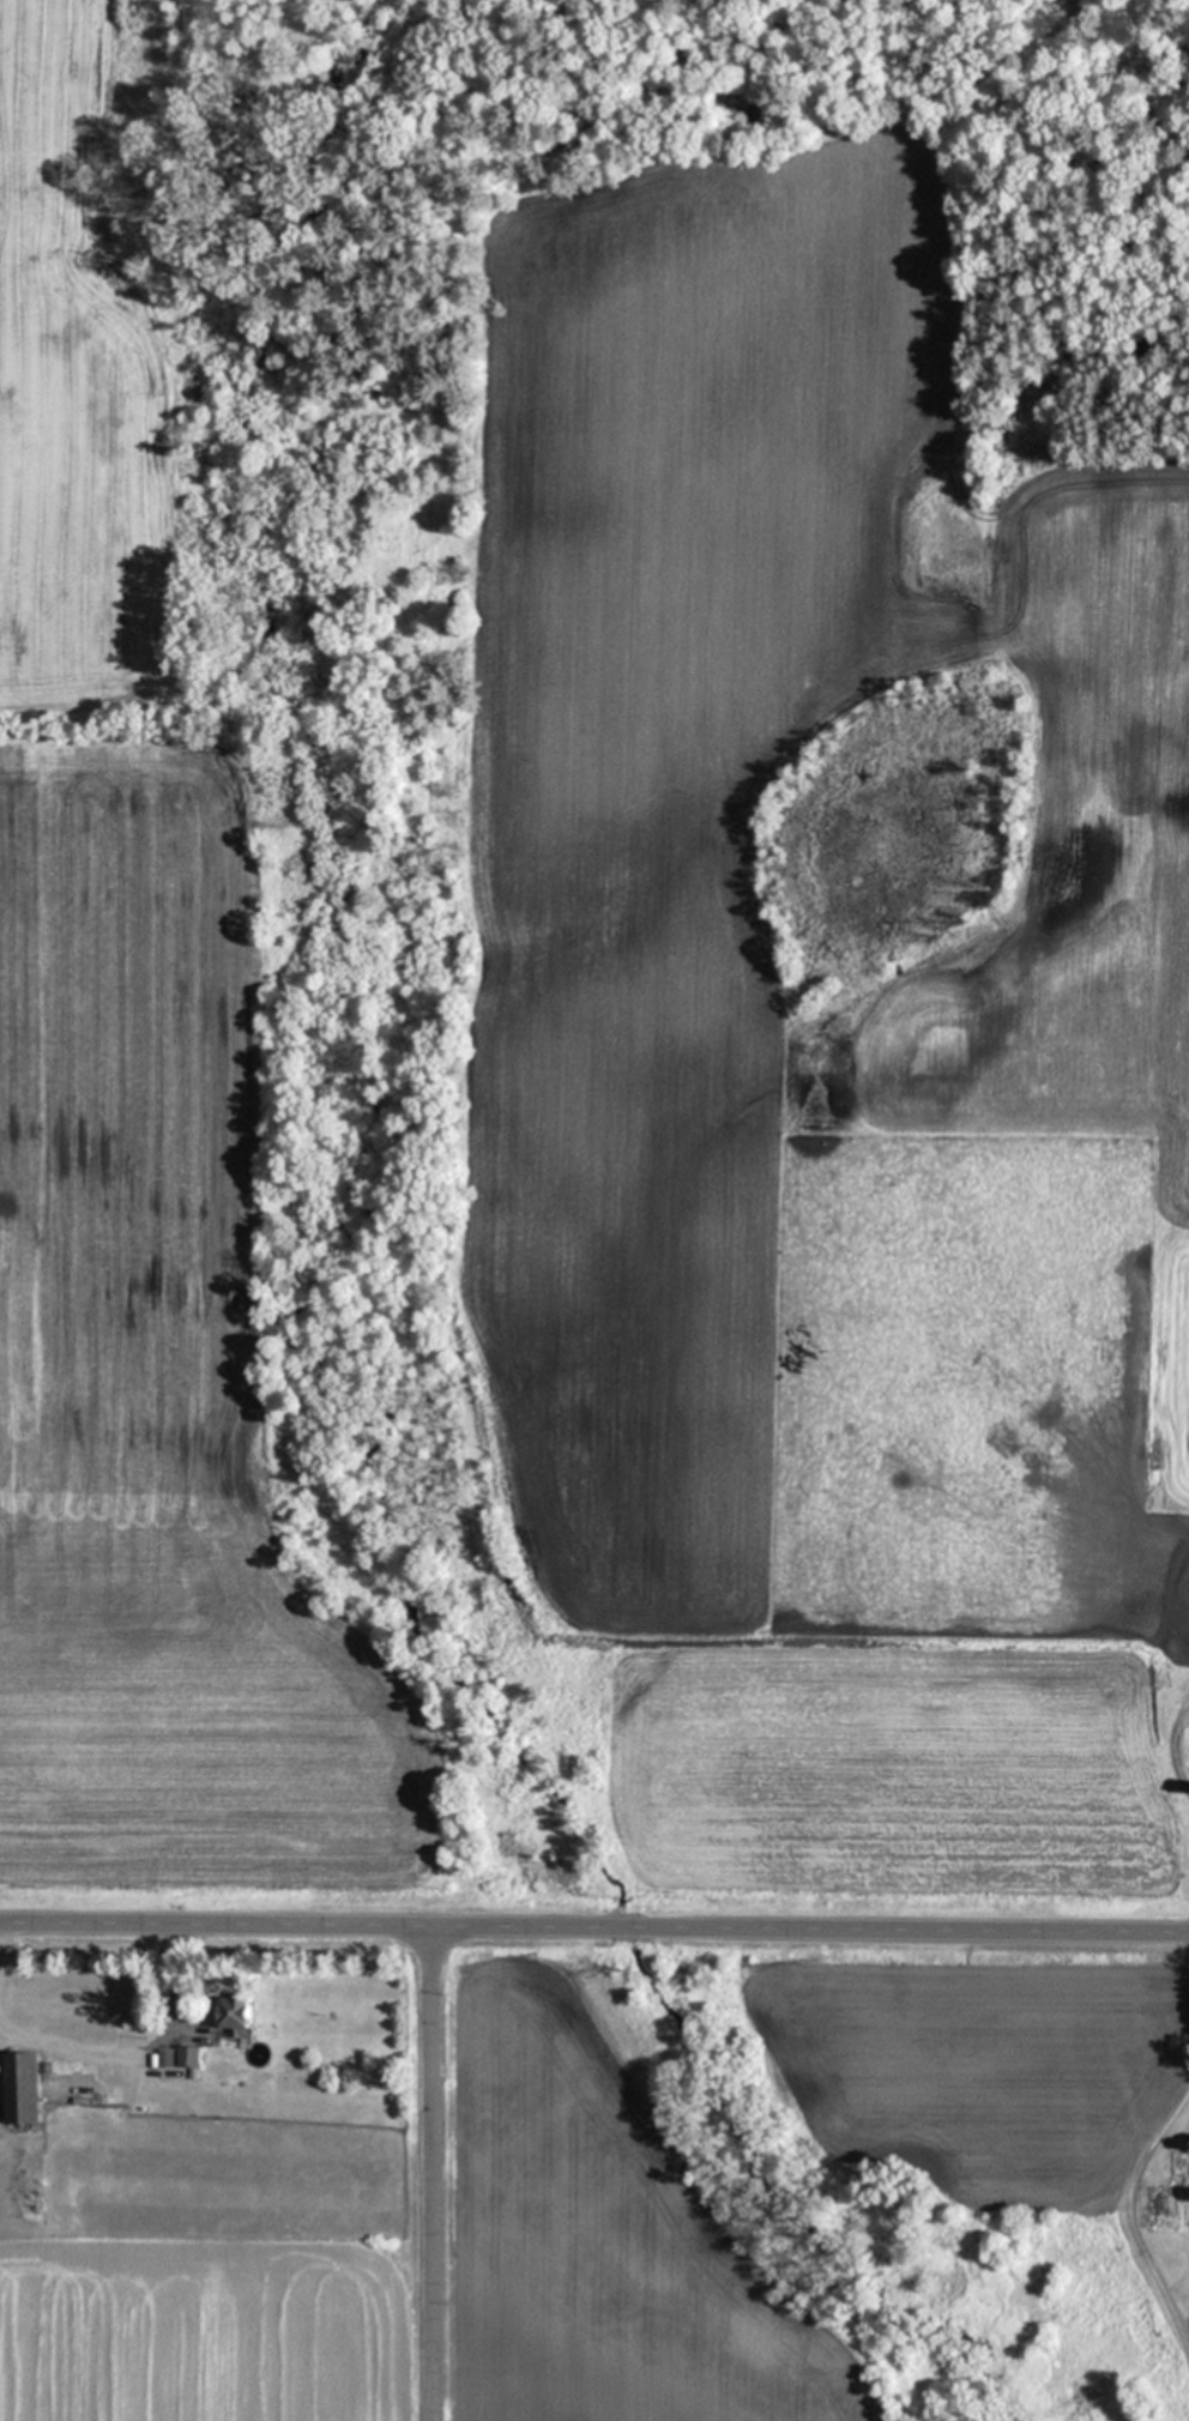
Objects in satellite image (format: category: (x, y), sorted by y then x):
road: (594, 1928)
building: (233, 2014)
building: (187, 2055)
building: (164, 2057)
building: (22, 2087)
road: (429, 2174)
building: (1164, 2194)
road: (1128, 2217)

